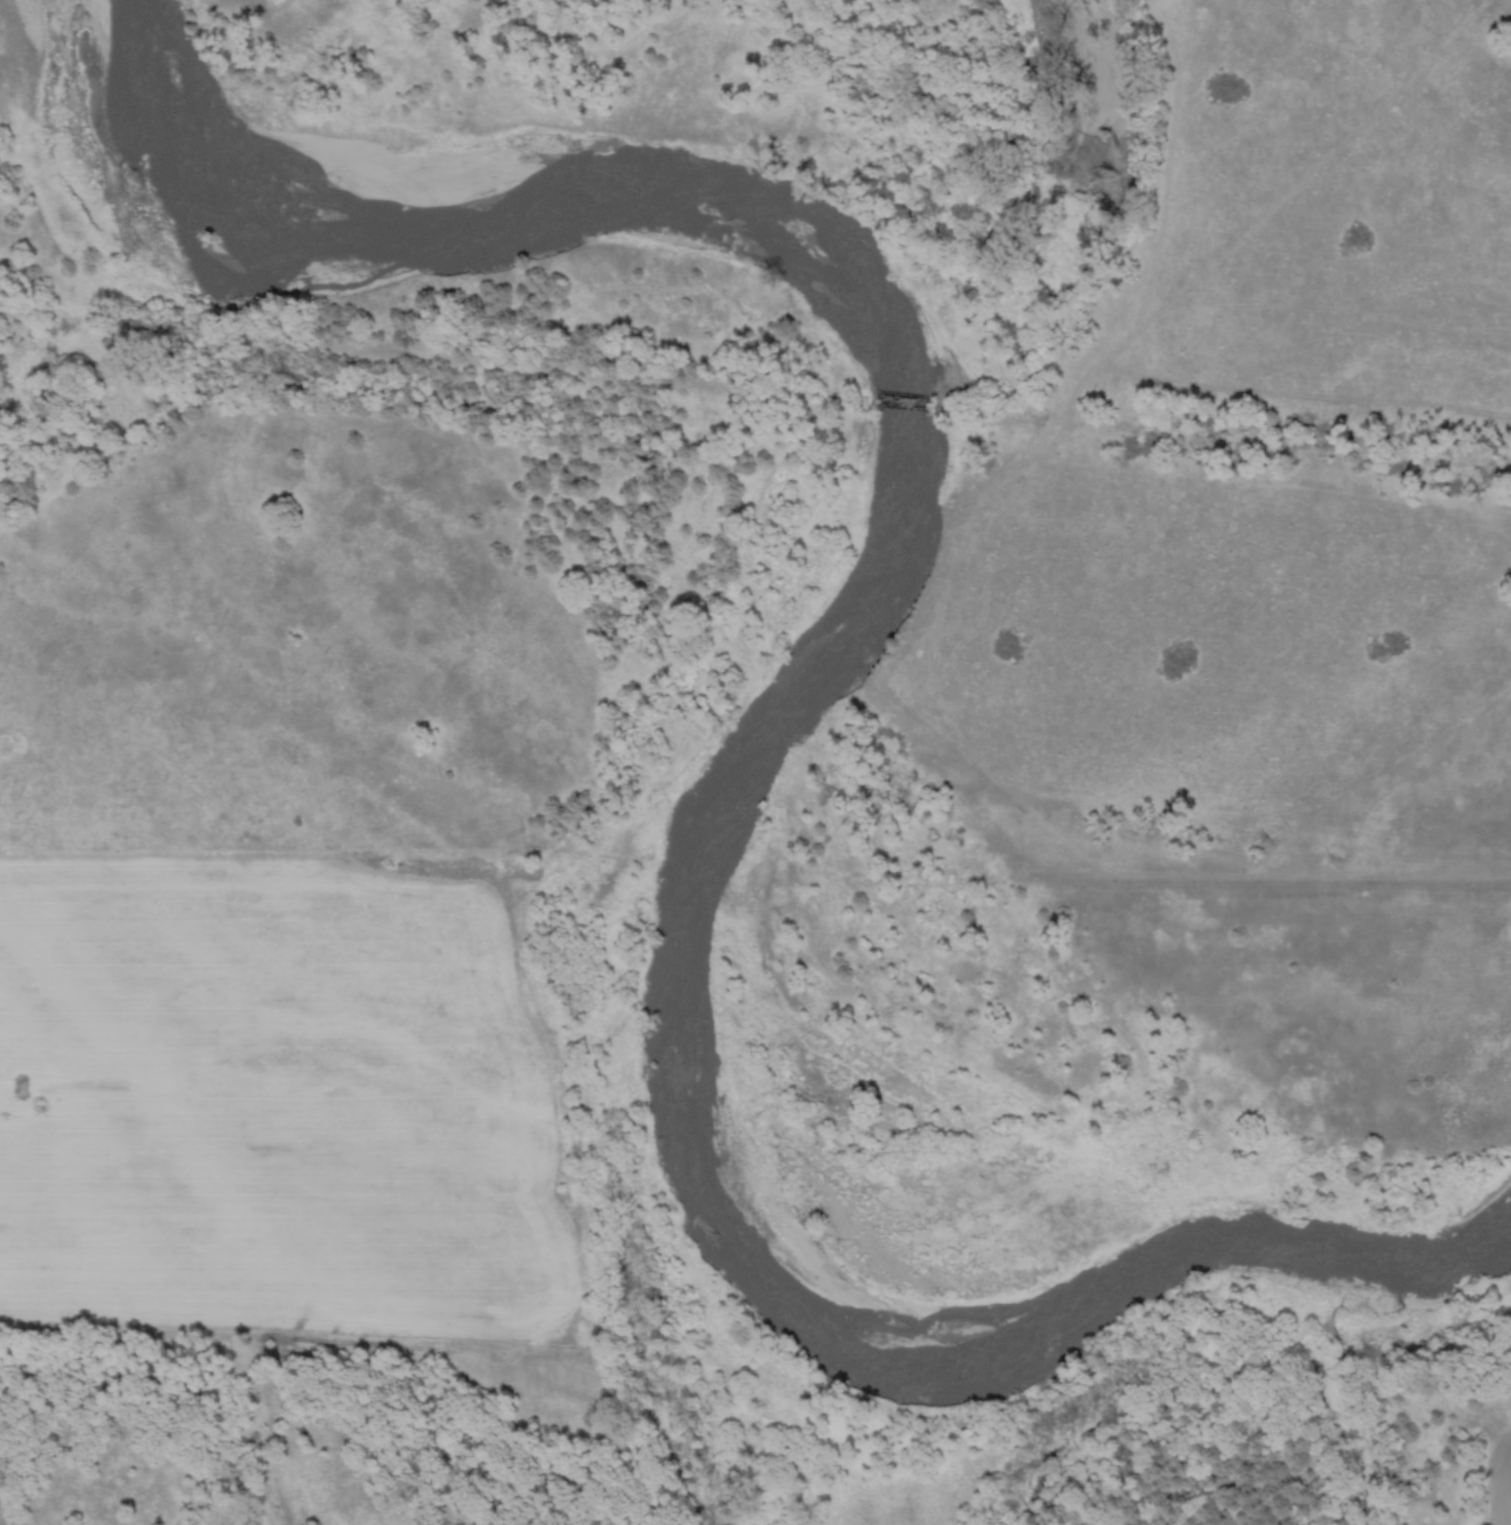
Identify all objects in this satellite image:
river: (796, 679)

